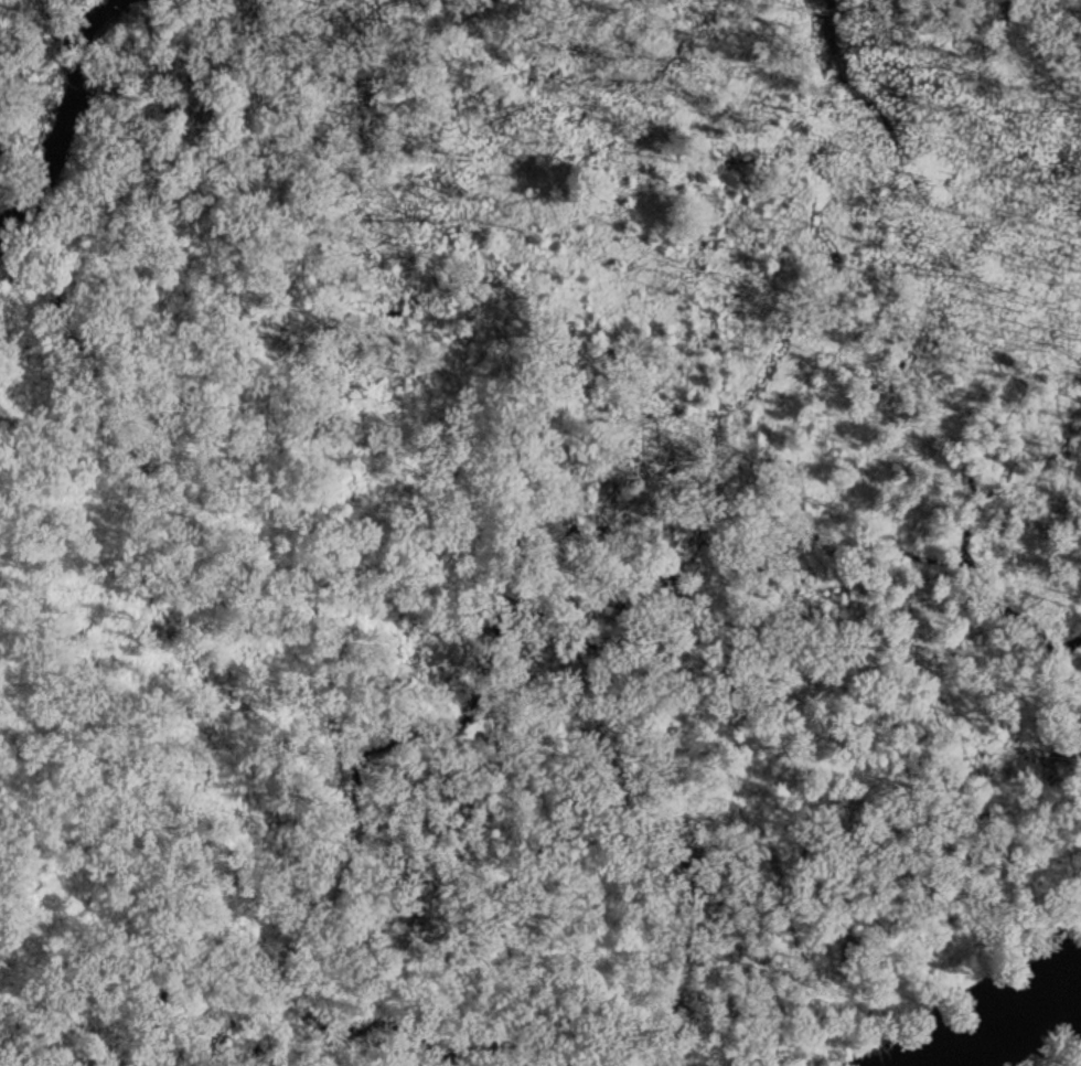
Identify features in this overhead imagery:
river: (1031, 1032)

